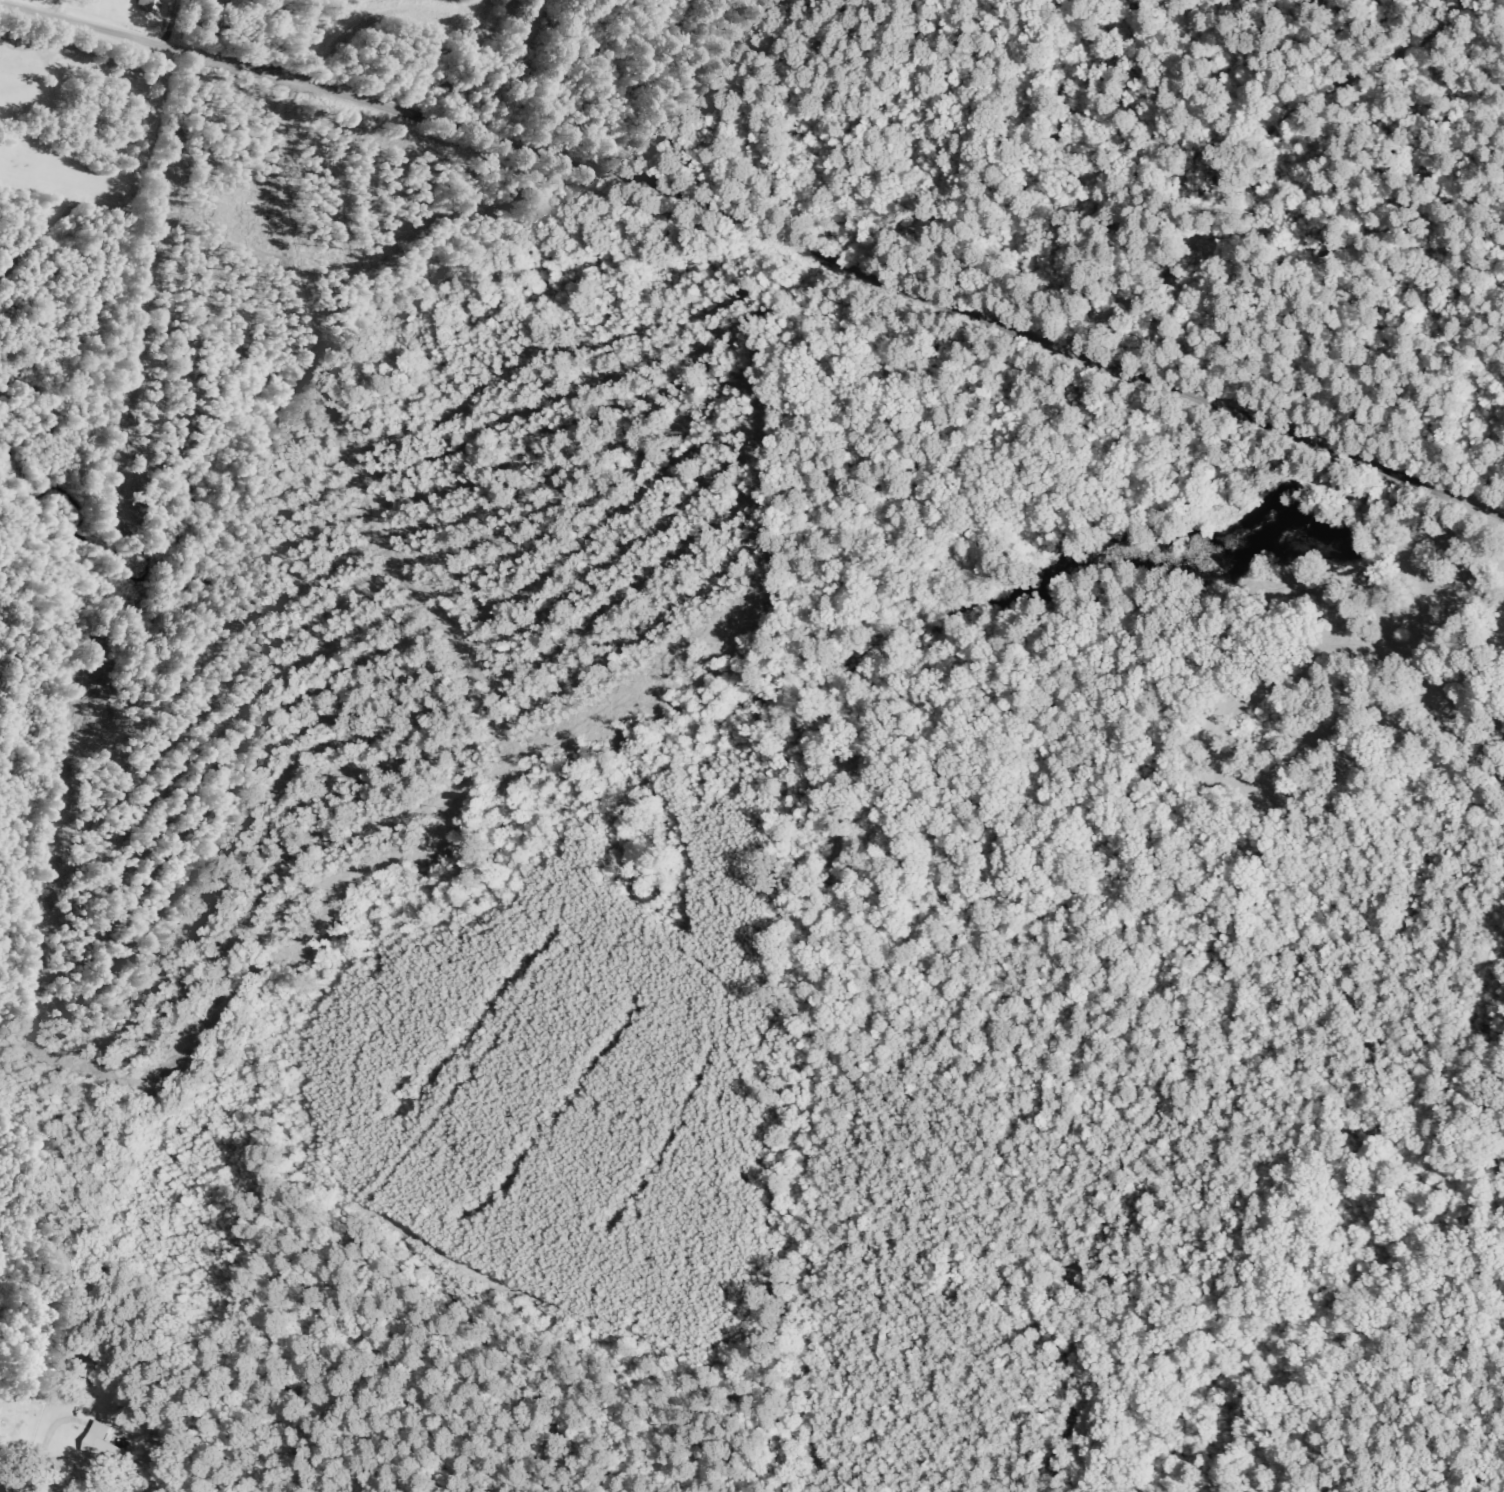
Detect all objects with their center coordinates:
building: (145, 5)
road: (760, 249)
building: (99, 1444)

